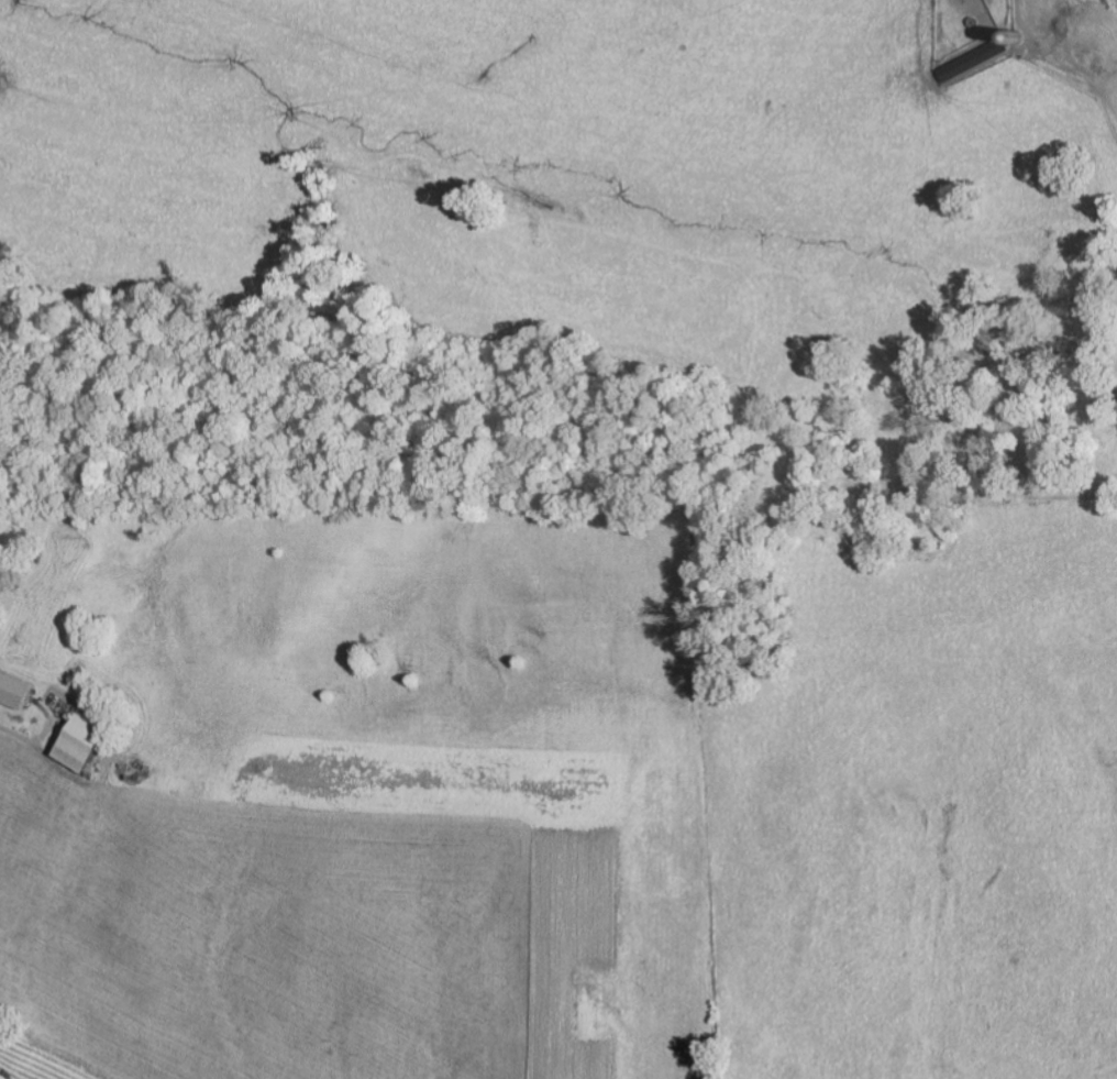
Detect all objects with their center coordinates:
building: (15, 691)
building: (81, 741)

